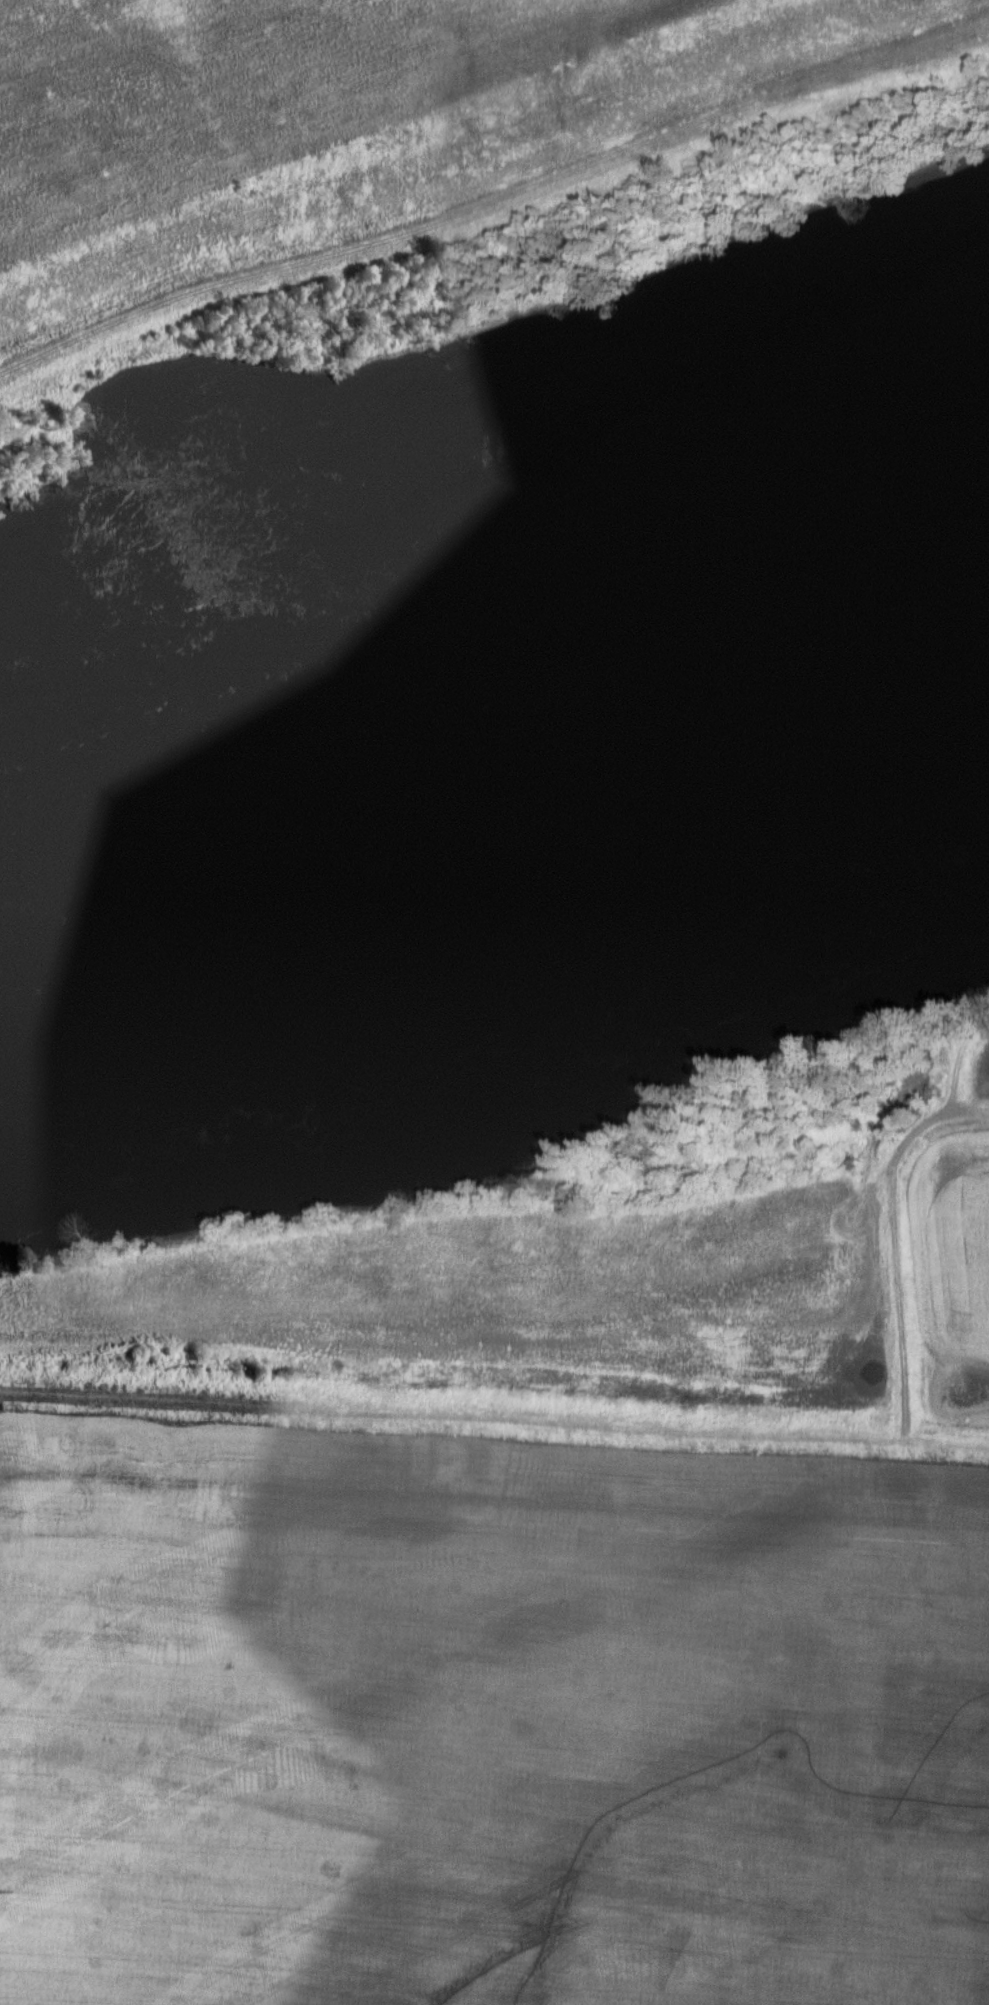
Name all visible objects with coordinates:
river: (494, 616)

